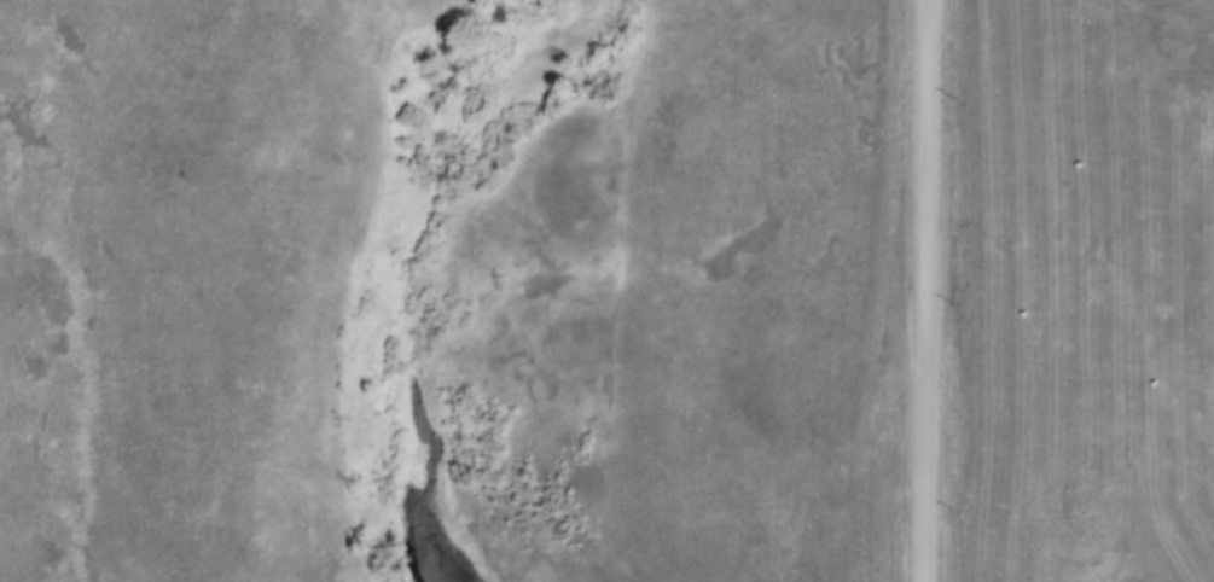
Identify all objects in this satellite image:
road: (922, 291)

